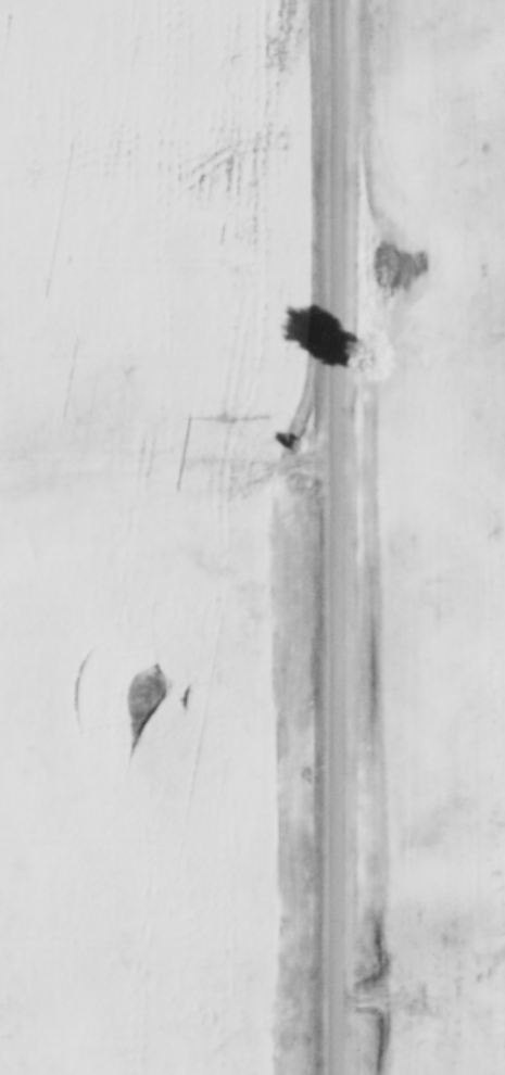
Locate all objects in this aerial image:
road: (168, 477)
road: (338, 537)

